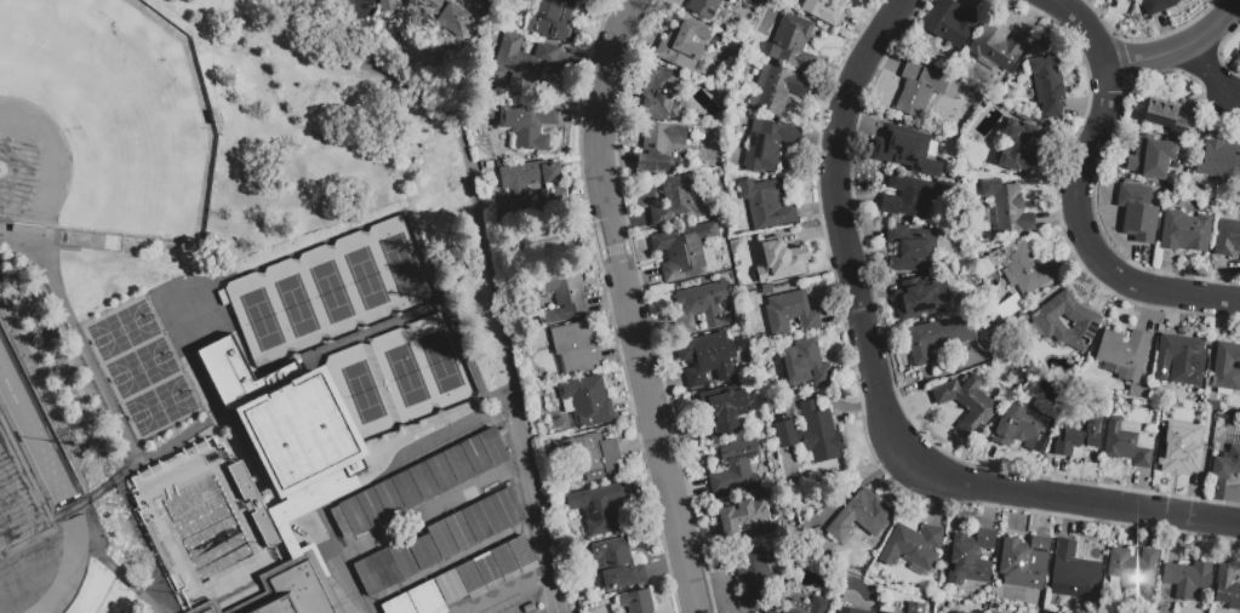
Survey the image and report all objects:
building: (1132, 0)
building: (390, 6)
building: (704, 7)
building: (1159, 7)
building: (825, 11)
building: (552, 19)
building: (950, 22)
building: (447, 23)
road: (1086, 28)
road: (355, 34)
building: (792, 42)
building: (684, 45)
building: (998, 45)
road: (310, 46)
road: (1179, 50)
building: (524, 63)
road: (1210, 74)
building: (1048, 85)
building: (777, 88)
building: (919, 88)
building: (661, 97)
building: (1166, 116)
park: (102, 121)
building: (528, 126)
road: (458, 137)
building: (768, 144)
building: (659, 147)
building: (947, 147)
building: (1023, 148)
building: (907, 150)
building: (1145, 159)
building: (1219, 165)
building: (535, 182)
building: (909, 196)
building: (676, 200)
building: (768, 204)
building: (1006, 205)
building: (1137, 212)
building: (1184, 230)
building: (28, 231)
road: (545, 237)
road: (1084, 237)
building: (1227, 237)
building: (912, 248)
building: (682, 251)
building: (781, 260)
building: (1022, 267)
building: (971, 283)
park: (333, 291)
building: (921, 298)
building: (42, 299)
building: (565, 299)
road: (625, 305)
building: (702, 305)
building: (787, 314)
building: (1085, 321)
park: (124, 331)
road: (503, 332)
road: (80, 338)
building: (938, 338)
building: (576, 349)
building: (1125, 351)
building: (709, 357)
building: (1179, 357)
building: (804, 365)
building: (1227, 366)
park: (143, 368)
park: (401, 374)
road: (876, 393)
building: (1139, 393)
building: (588, 401)
building: (966, 402)
building: (1212, 405)
park: (161, 406)
building: (724, 411)
building: (1022, 428)
building: (812, 432)
building: (292, 434)
building: (1076, 435)
building: (1128, 442)
building: (201, 447)
road: (161, 448)
building: (493, 448)
building: (1184, 448)
building: (189, 452)
building: (592, 454)
building: (476, 457)
building: (1227, 463)
building: (459, 465)
building: (736, 466)
building: (155, 469)
building: (144, 474)
building: (441, 474)
building: (424, 482)
track: (46, 489)
building: (407, 491)
building: (389, 499)
park: (18, 503)
building: (253, 504)
building: (372, 506)
building: (513, 506)
building: (598, 506)
building: (495, 515)
road: (537, 515)
building: (354, 516)
building: (741, 516)
building: (861, 516)
track: (29, 517)
building: (341, 522)
road: (401, 525)
building: (478, 525)
parking lot: (445, 533)
building: (461, 533)
building: (444, 542)
building: (916, 544)
building: (521, 546)
building: (424, 554)
building: (504, 555)
building: (971, 557)
building: (404, 561)
building: (1024, 561)
building: (487, 563)
building: (616, 565)
building: (387, 569)
building: (1132, 569)
building: (469, 572)
building: (1074, 573)
building: (368, 577)
building: (1188, 577)
building: (448, 578)
road: (122, 579)
building: (753, 579)
road: (327, 585)
building: (1228, 586)
building: (295, 589)
building: (430, 591)
road: (505, 591)
building: (412, 597)
building: (638, 601)
building: (393, 602)
building: (806, 606)
building: (915, 607)
building: (207, 608)
building: (773, 611)
building: (851, 611)
building: (884, 612)
building: (960, 612)
building: (994, 612)

